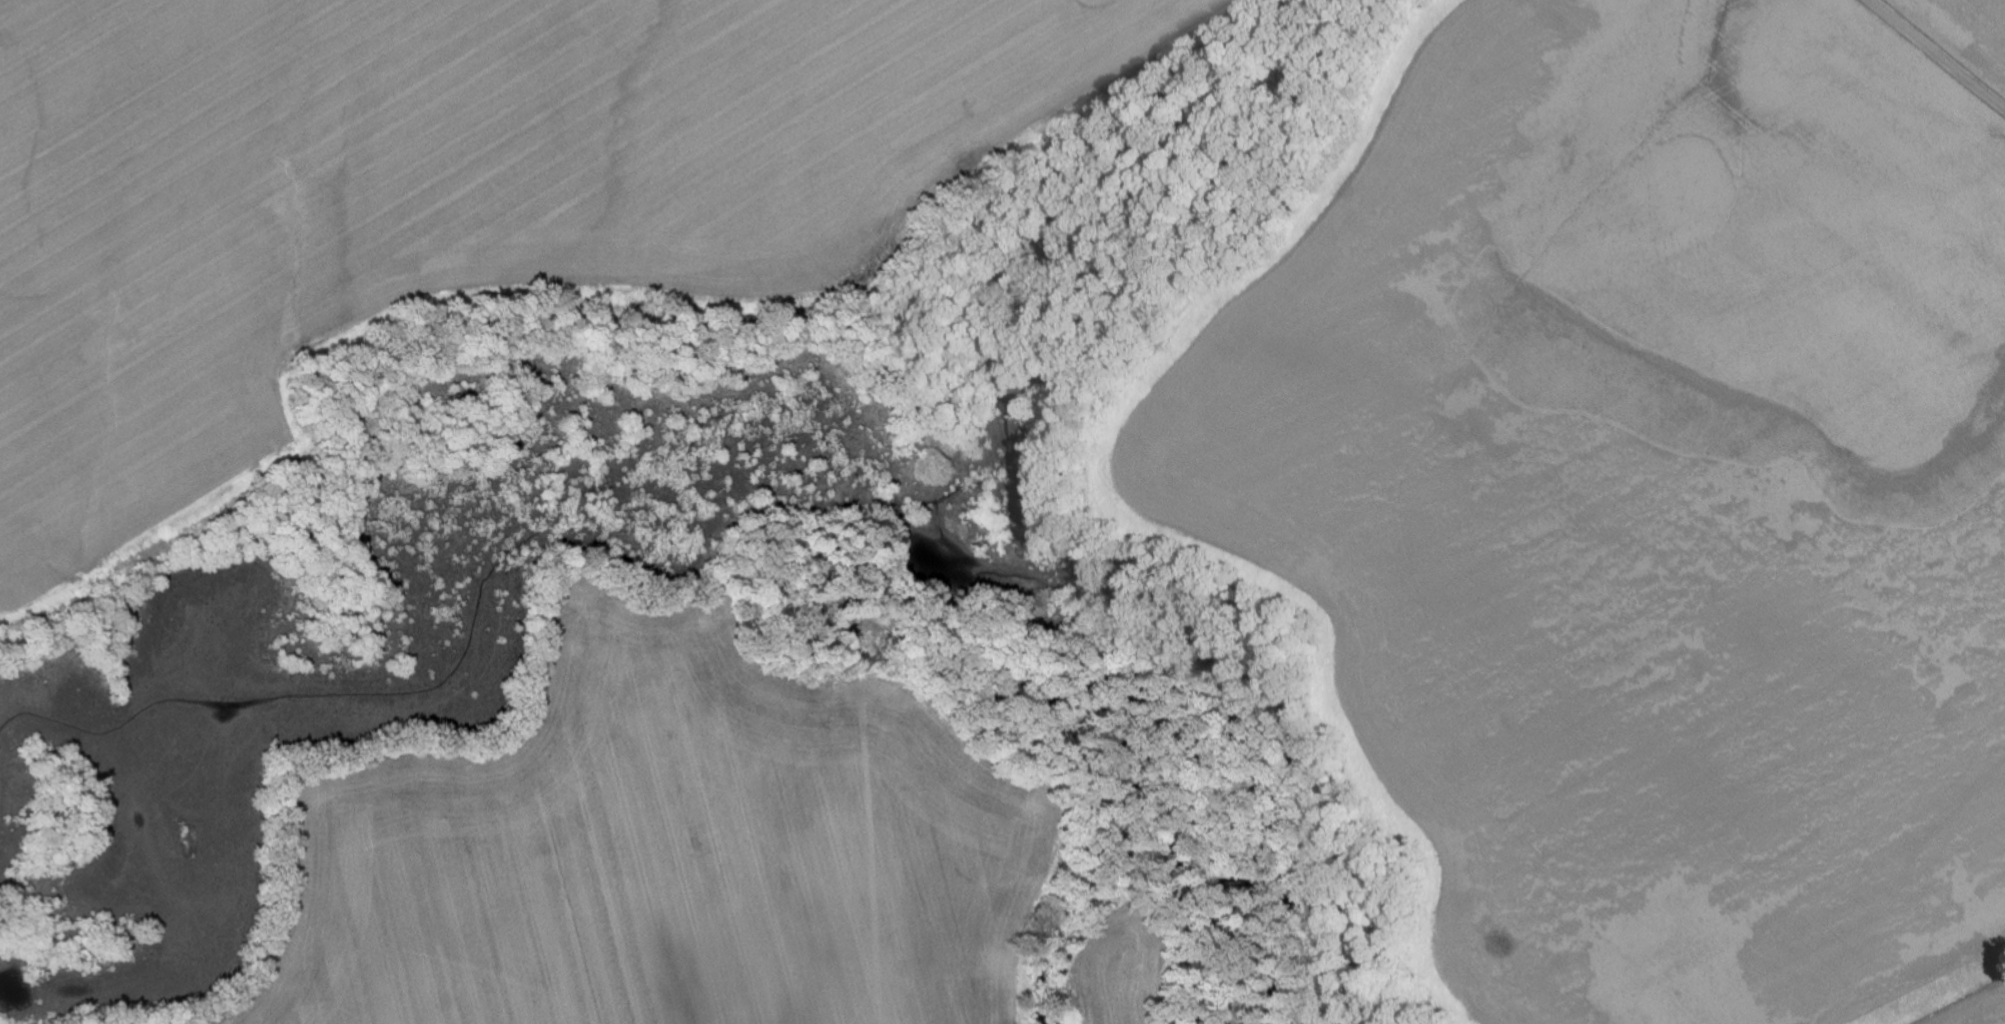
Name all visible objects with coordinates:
road: (1937, 55)

